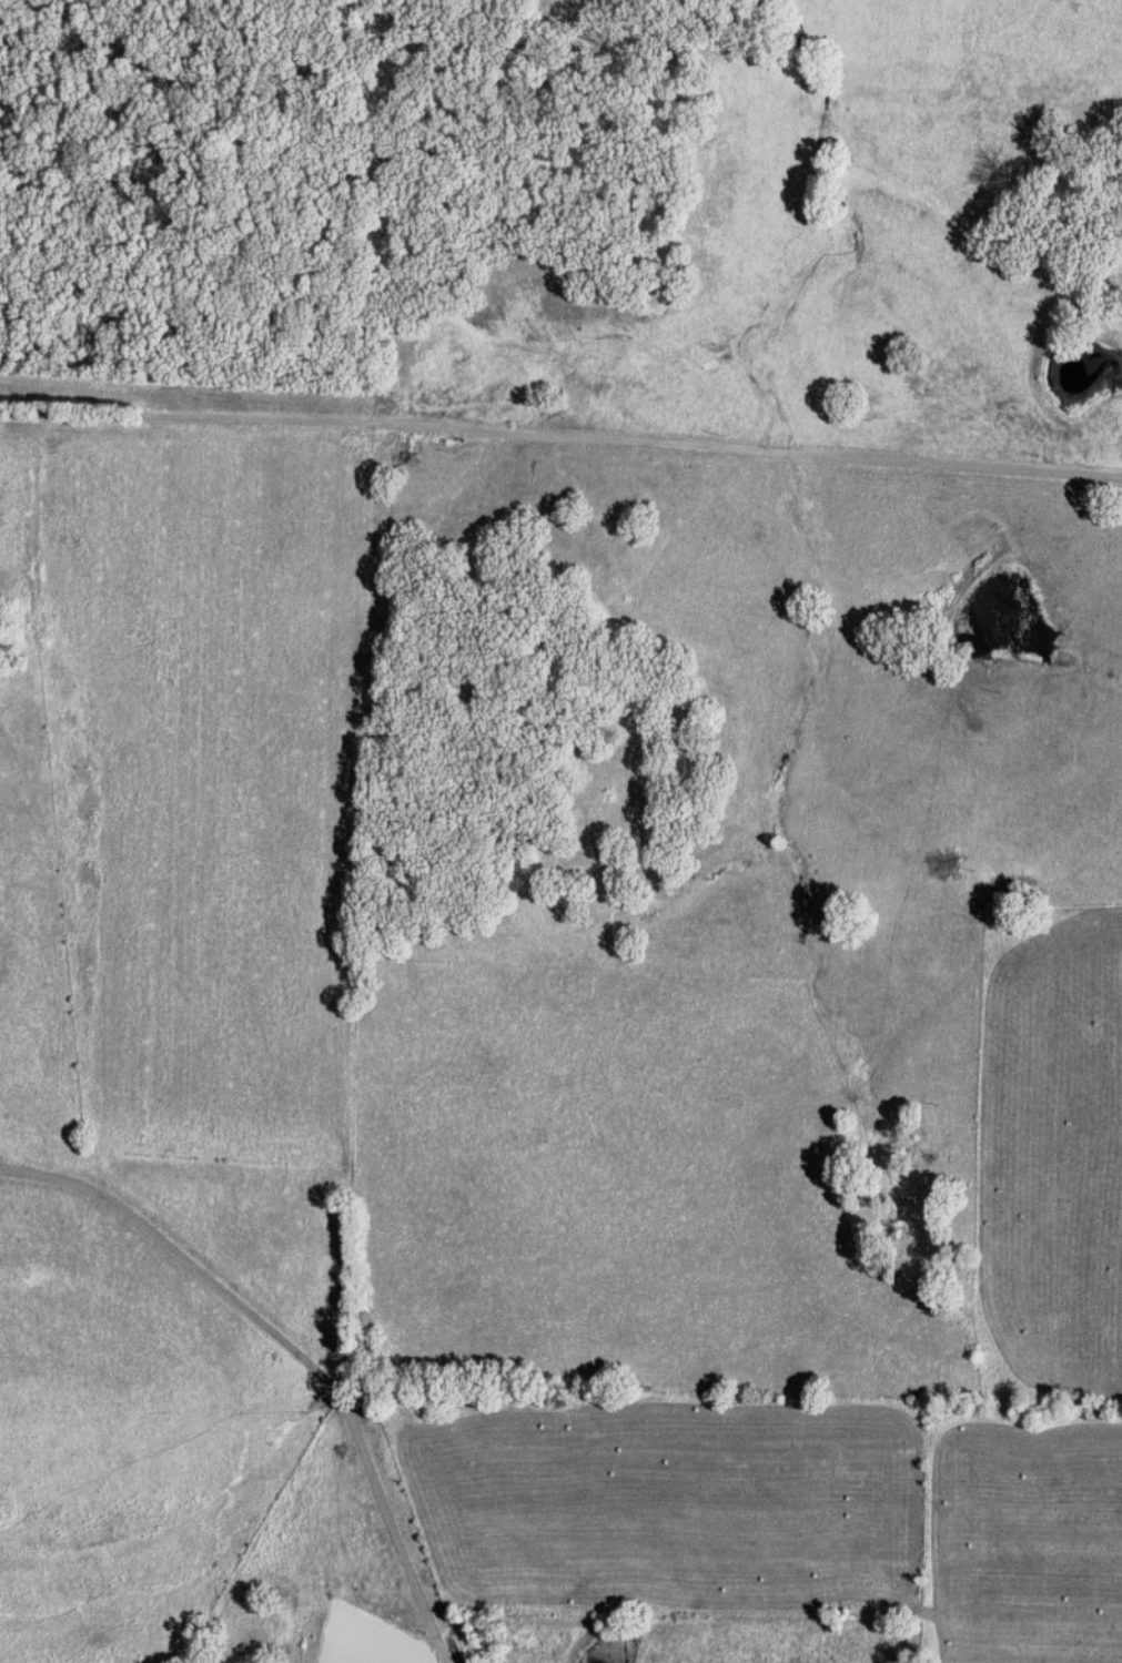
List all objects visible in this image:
road: (562, 436)

